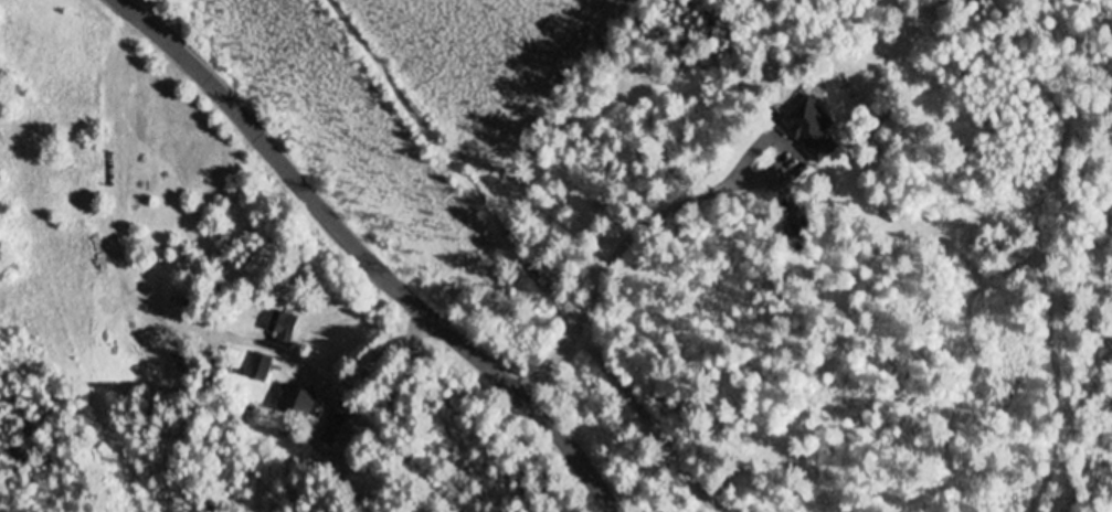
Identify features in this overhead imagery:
building: (813, 128)
road: (375, 256)
building: (284, 324)
building: (260, 366)
building: (298, 401)

